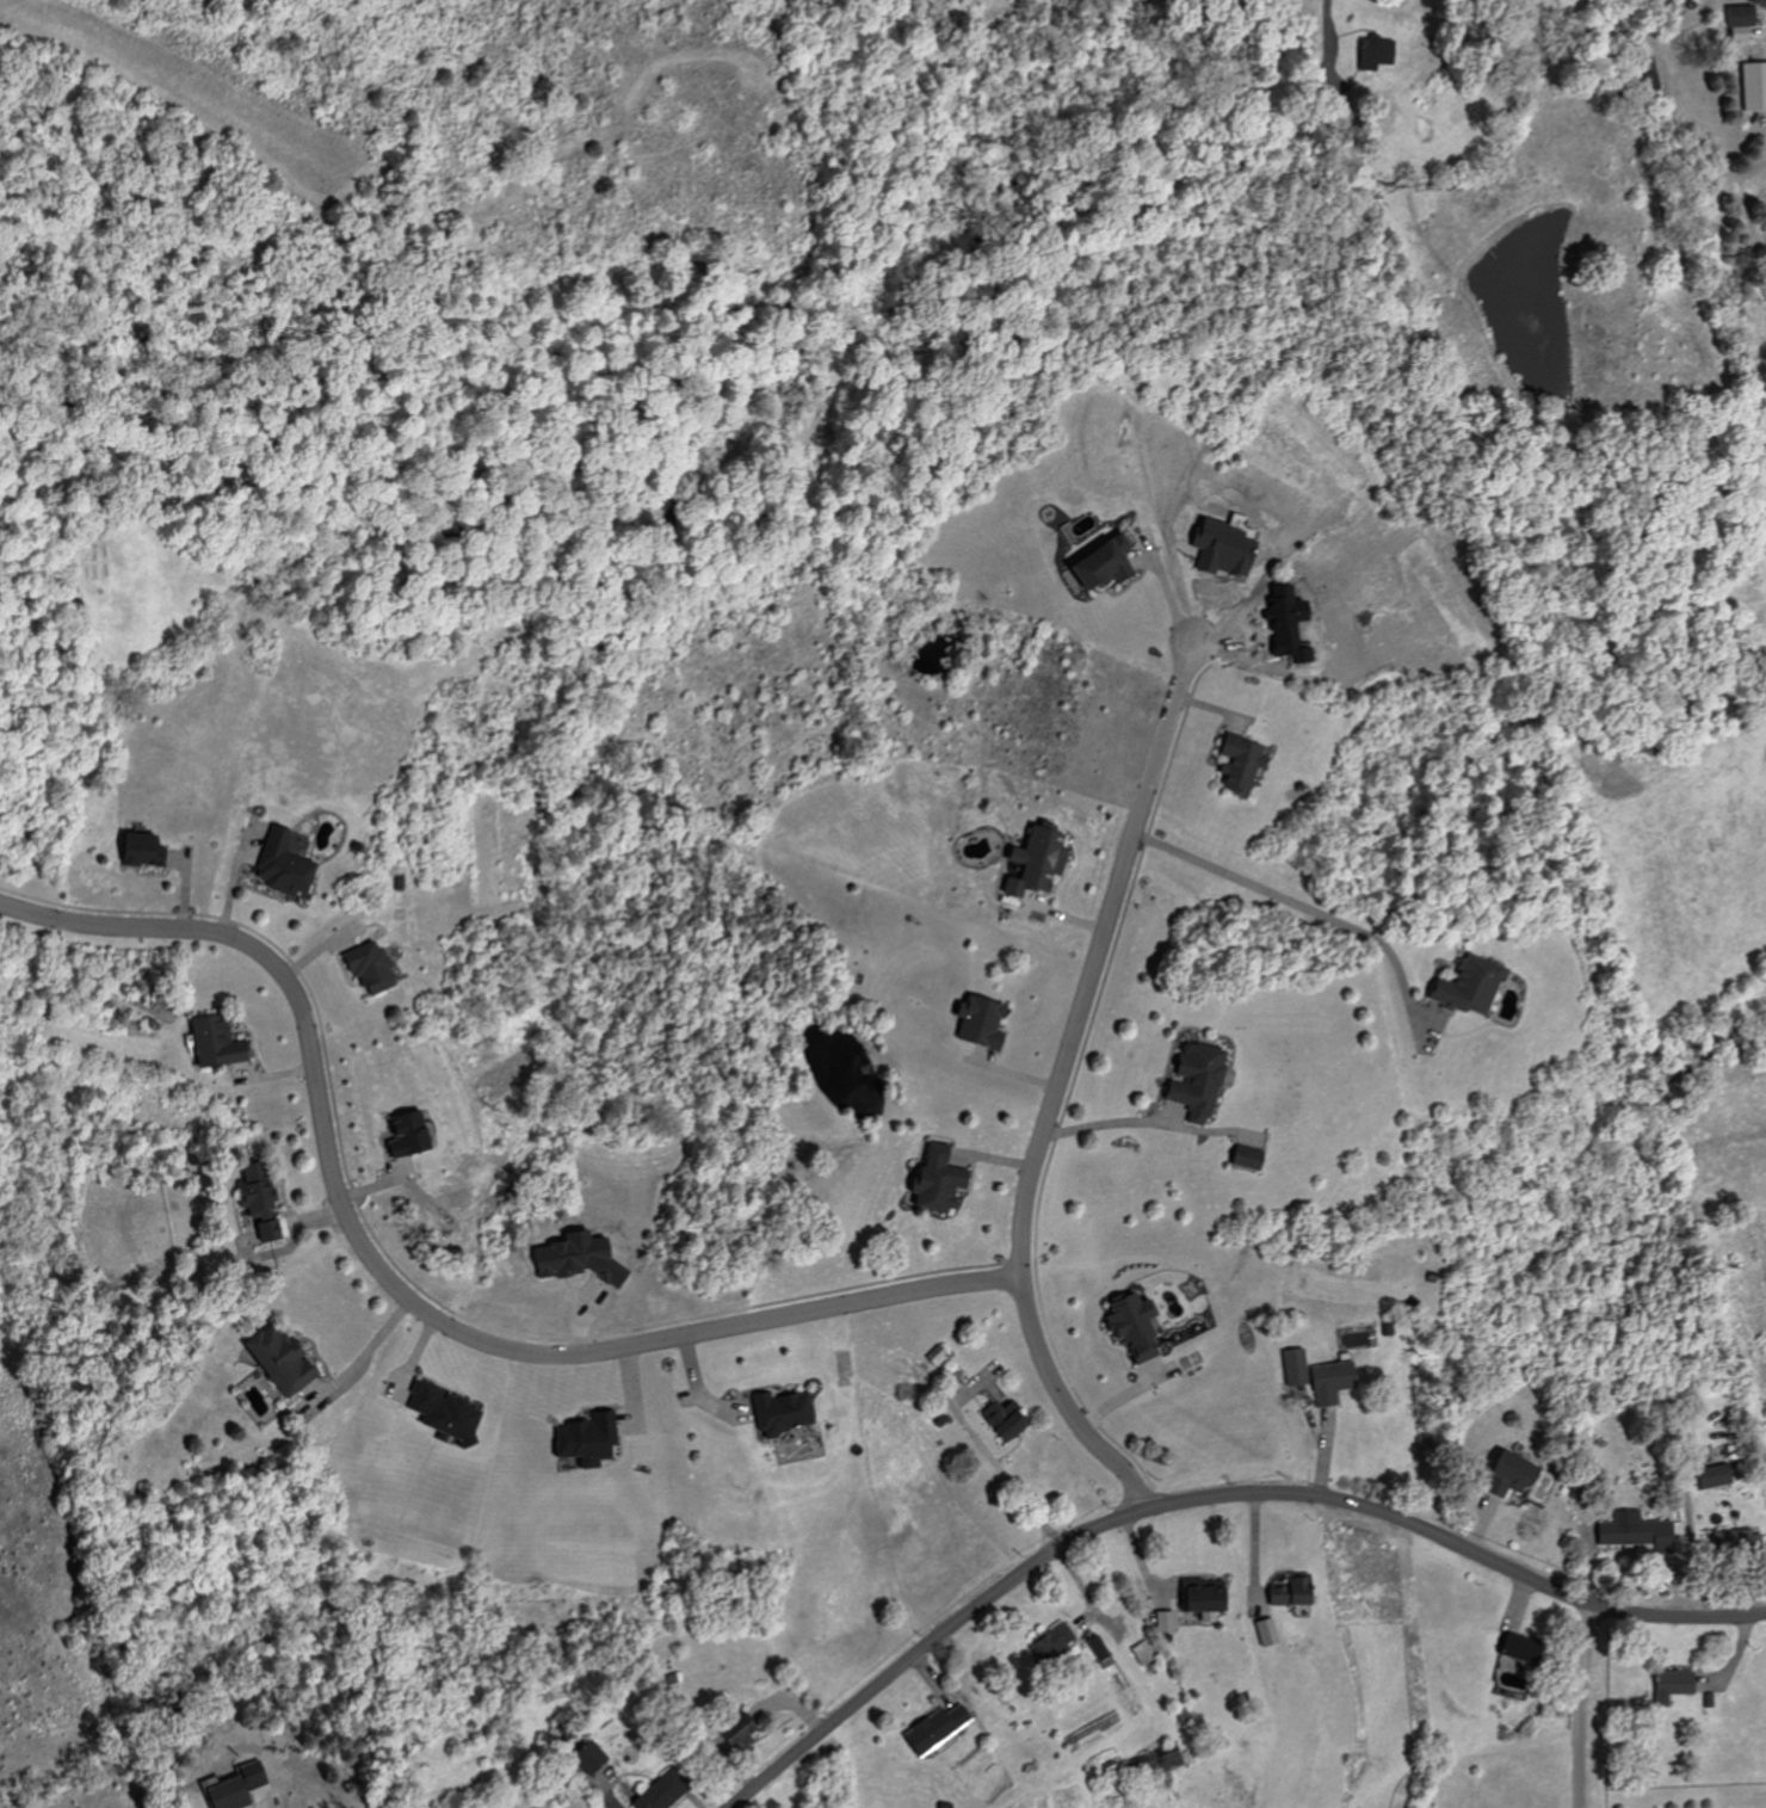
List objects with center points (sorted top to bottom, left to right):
building: (1755, 1)
building: (1735, 20)
road: (1332, 29)
building: (1371, 51)
building: (1750, 85)
building: (1111, 563)
road: (1167, 588)
building: (1247, 763)
building: (148, 849)
building: (1043, 860)
building: (289, 865)
road: (1308, 908)
building: (377, 968)
building: (1461, 986)
building: (986, 1022)
building: (222, 1042)
building: (1200, 1081)
road: (1052, 1088)
road: (1104, 1122)
building: (416, 1135)
building: (1254, 1158)
building: (943, 1180)
building: (581, 1258)
road: (395, 1286)
building: (1140, 1326)
road: (359, 1347)
building: (288, 1360)
building: (1290, 1366)
building: (1326, 1382)
road: (696, 1388)
building: (451, 1411)
building: (786, 1412)
building: (1008, 1419)
building: (594, 1439)
road: (1011, 1471)
building: (1503, 1474)
road: (1210, 1497)
building: (1629, 1532)
road: (1690, 1534)
building: (1731, 1542)
building: (1212, 1596)
building: (1169, 1623)
building: (1264, 1631)
building: (1056, 1646)
building: (1100, 1648)
building: (1508, 1648)
building: (1146, 1653)
building: (1666, 1685)
road: (1579, 1708)
building: (940, 1728)
building: (599, 1759)
building: (1155, 1761)
road: (297, 1781)
building: (243, 1787)
building: (672, 1791)

